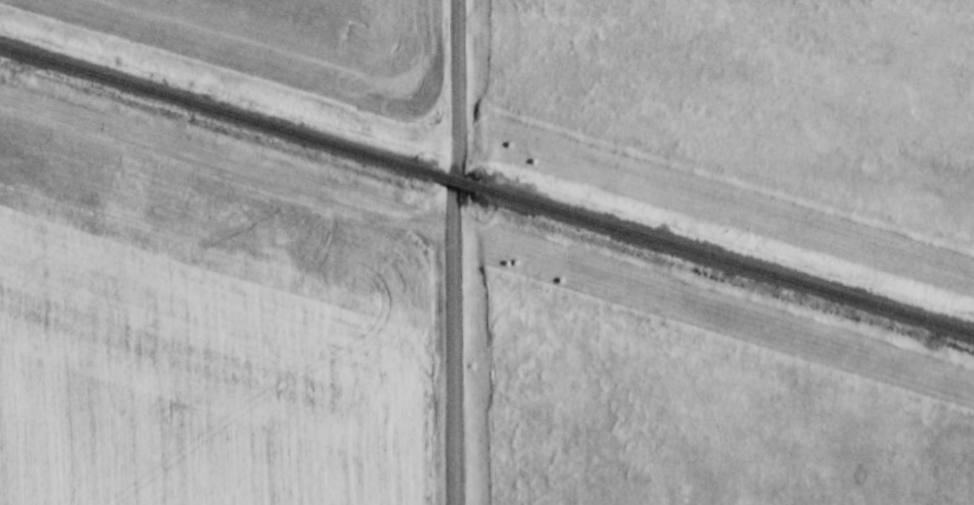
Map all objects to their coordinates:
railway: (215, 110)
road: (693, 176)
road: (223, 181)
railway: (455, 181)
road: (449, 252)
railway: (727, 262)

